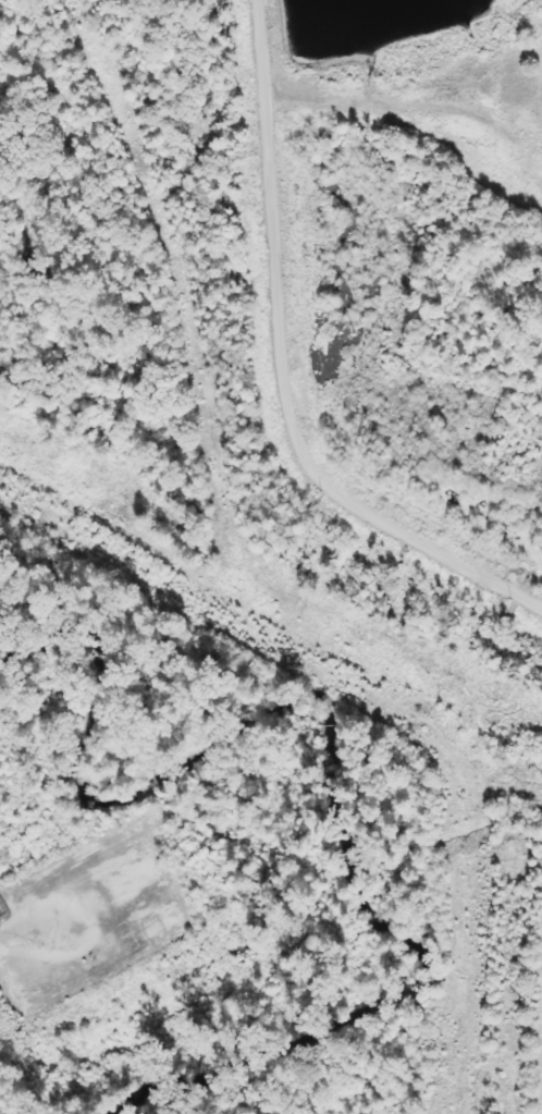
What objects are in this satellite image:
road: (36, 921)

